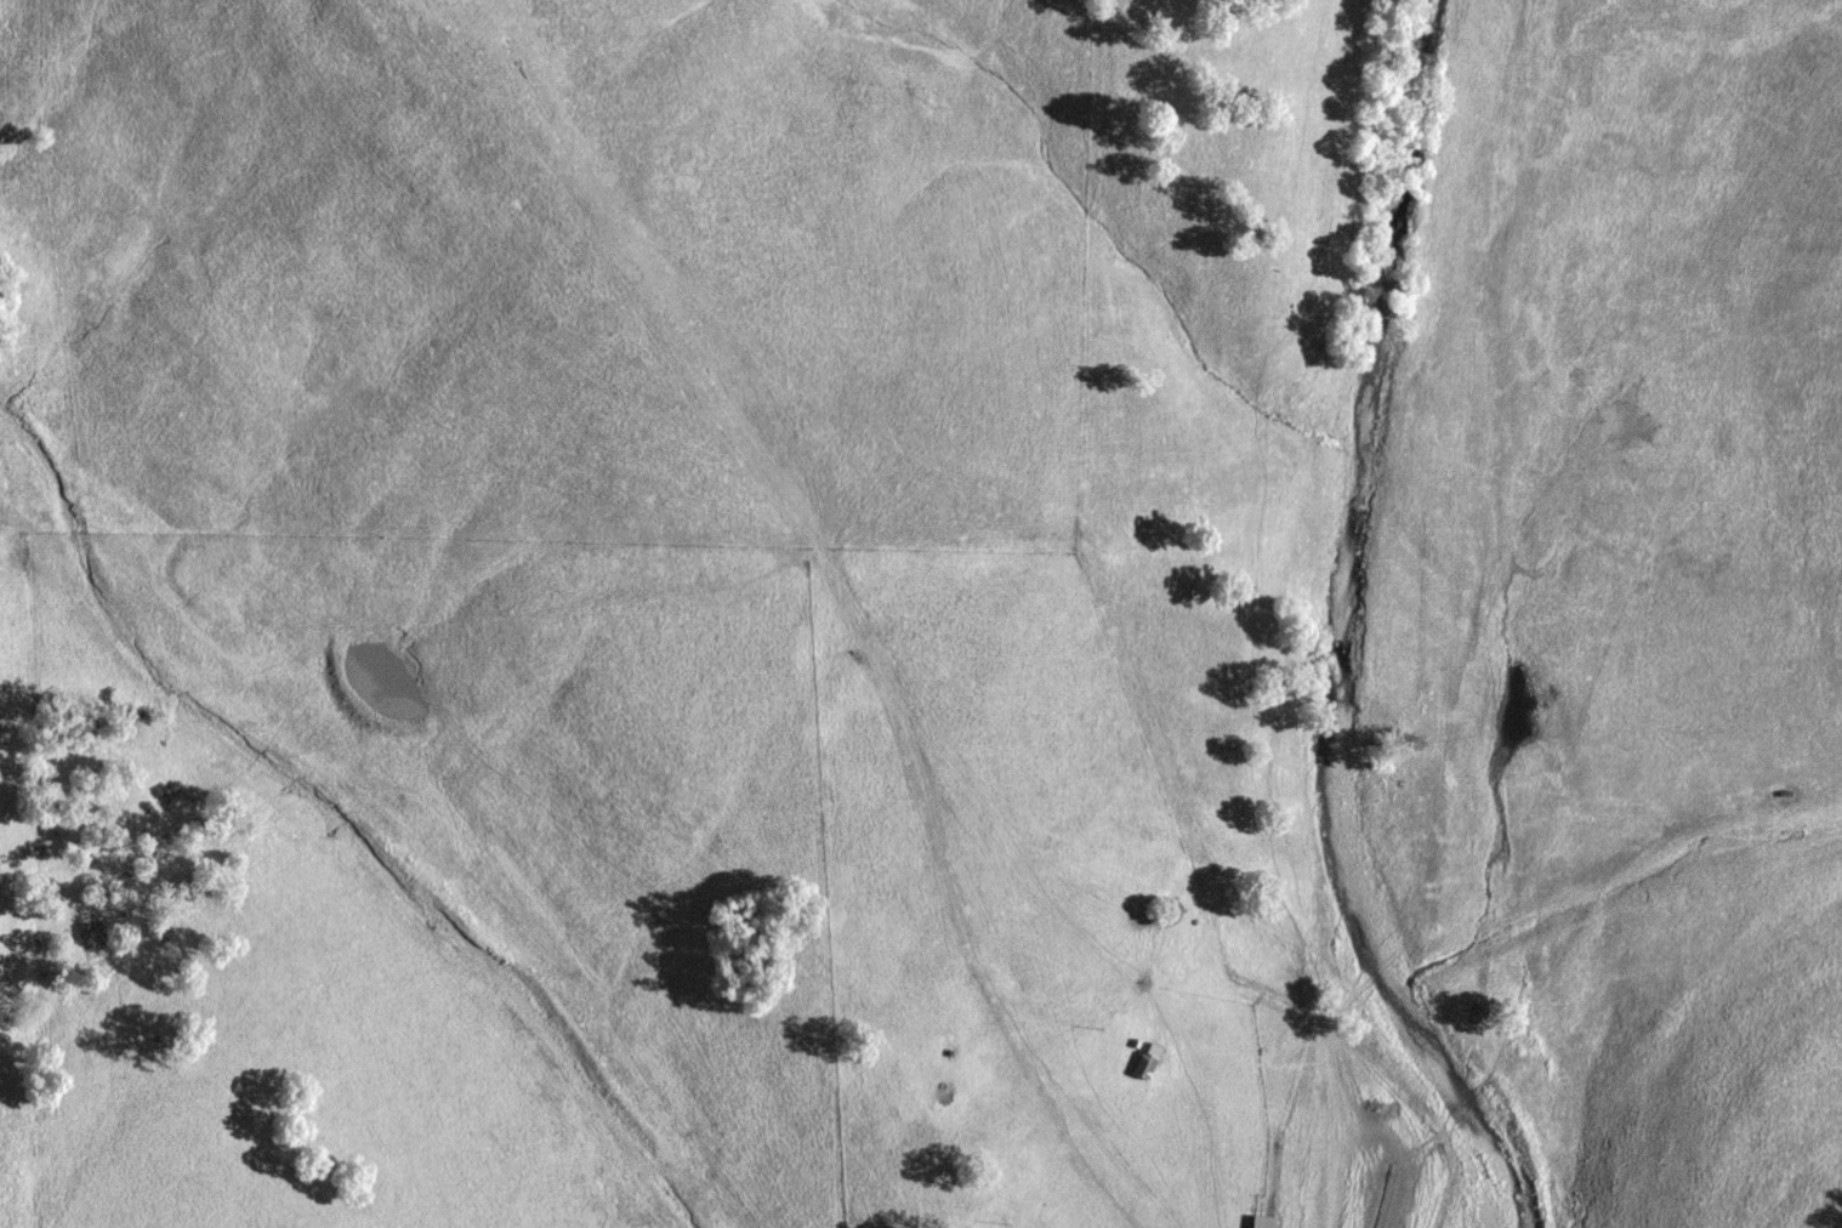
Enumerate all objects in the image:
road: (1411, 1080)
building: (1267, 1222)

